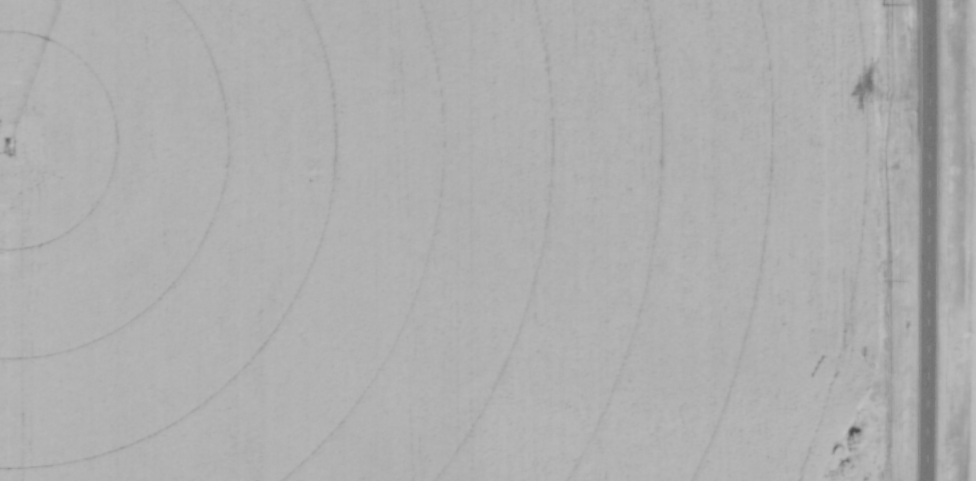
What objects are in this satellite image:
road: (927, 240)

